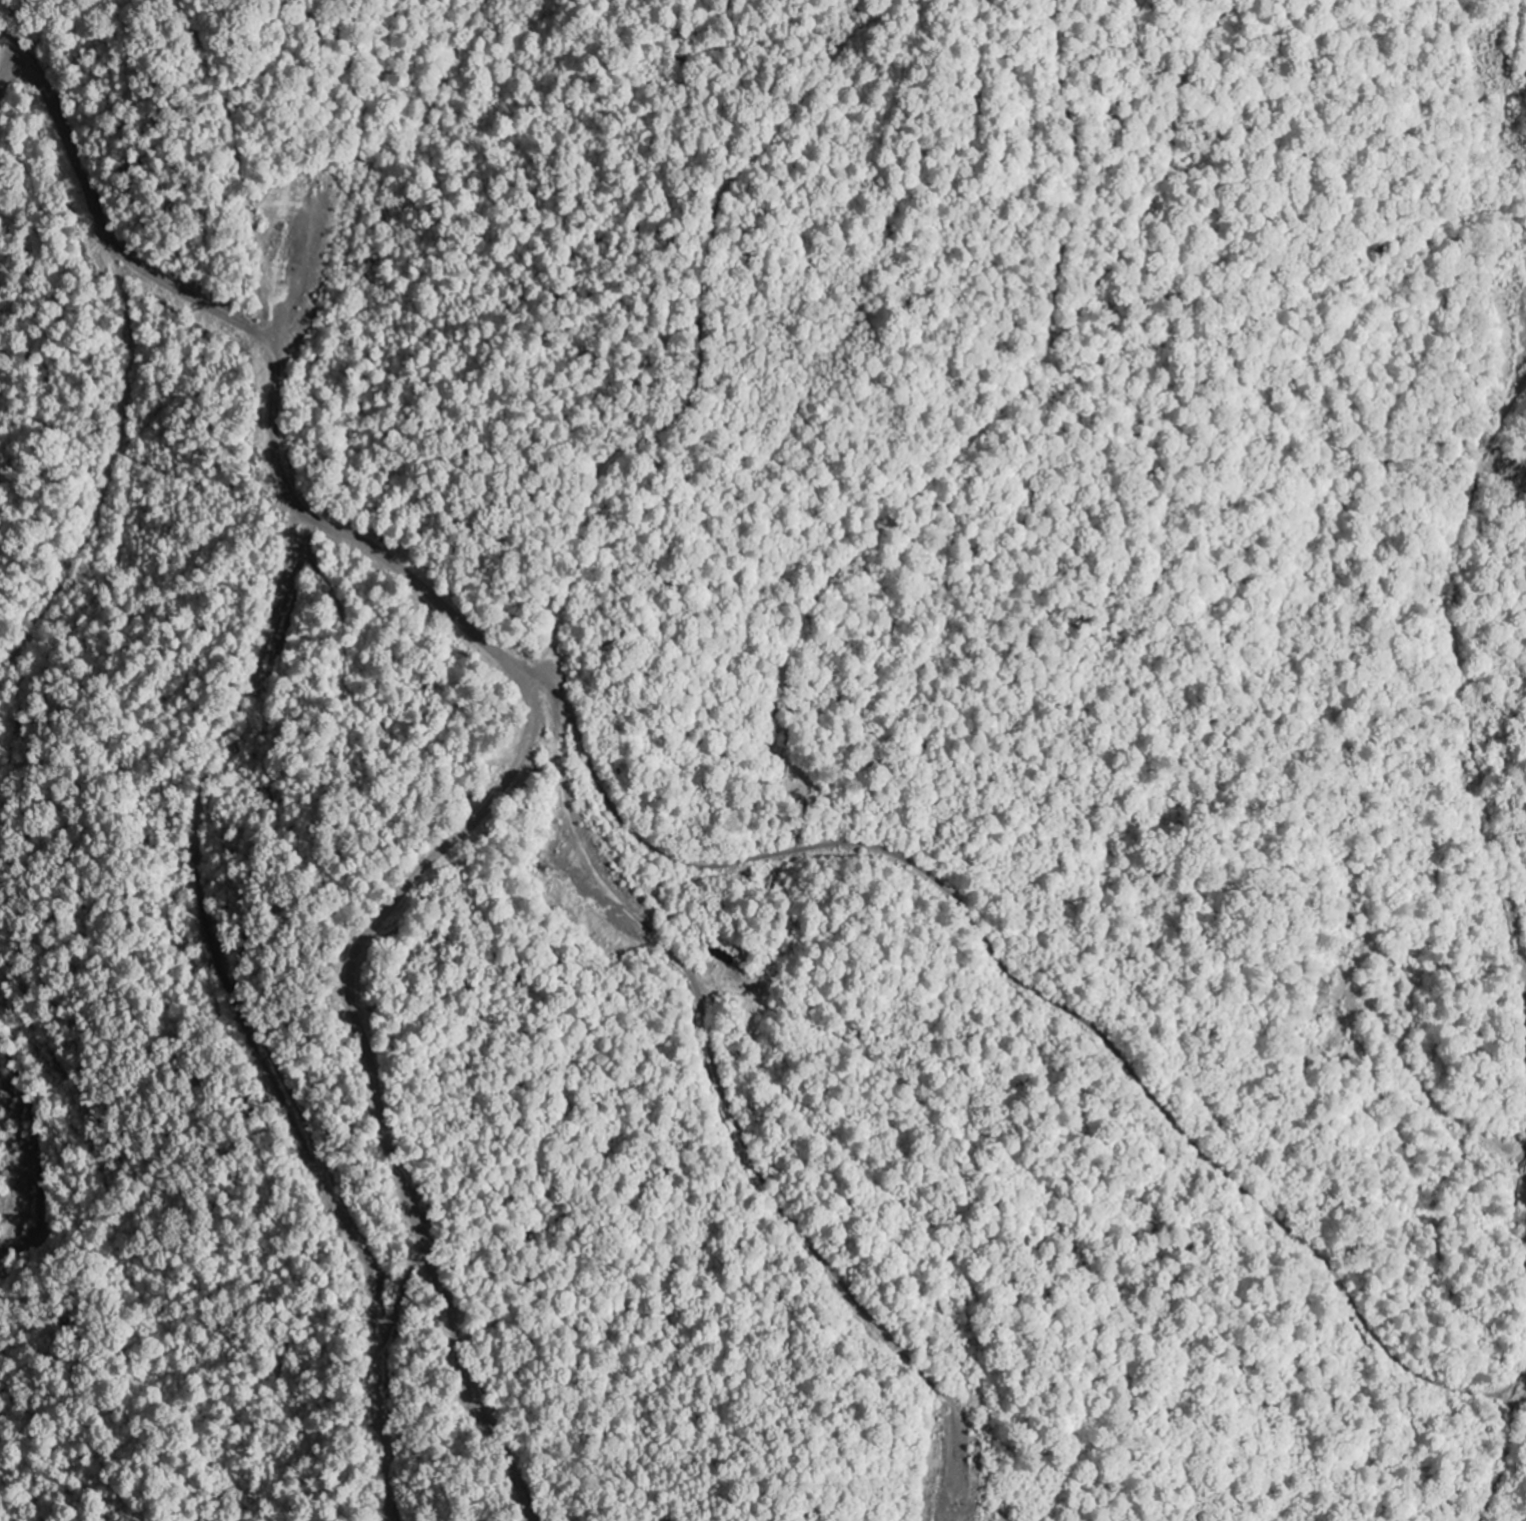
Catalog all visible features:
road: (1507, 83)
road: (699, 341)
road: (1459, 672)
road: (533, 710)
road: (1038, 992)
road: (1525, 998)
road: (242, 1015)
road: (733, 1119)
road: (1520, 1154)
road: (1525, 1211)
road: (1506, 1459)

